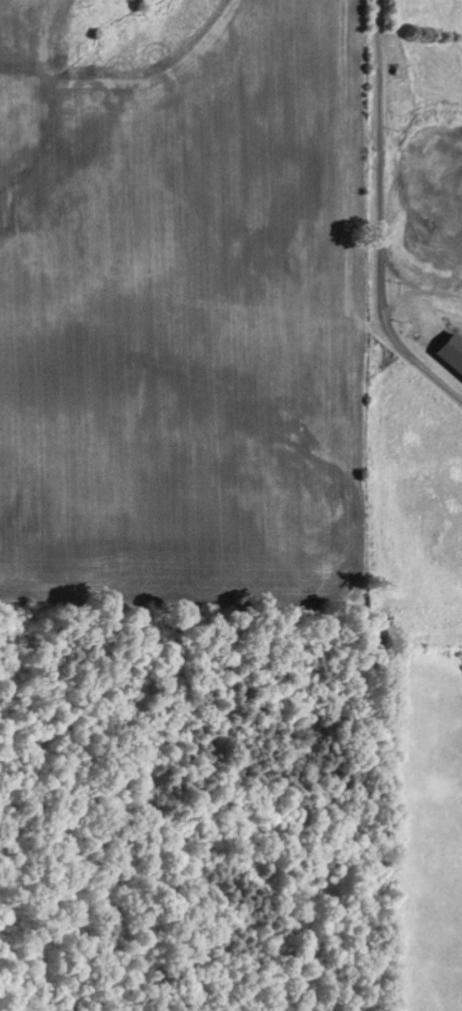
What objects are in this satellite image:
building: (451, 351)

